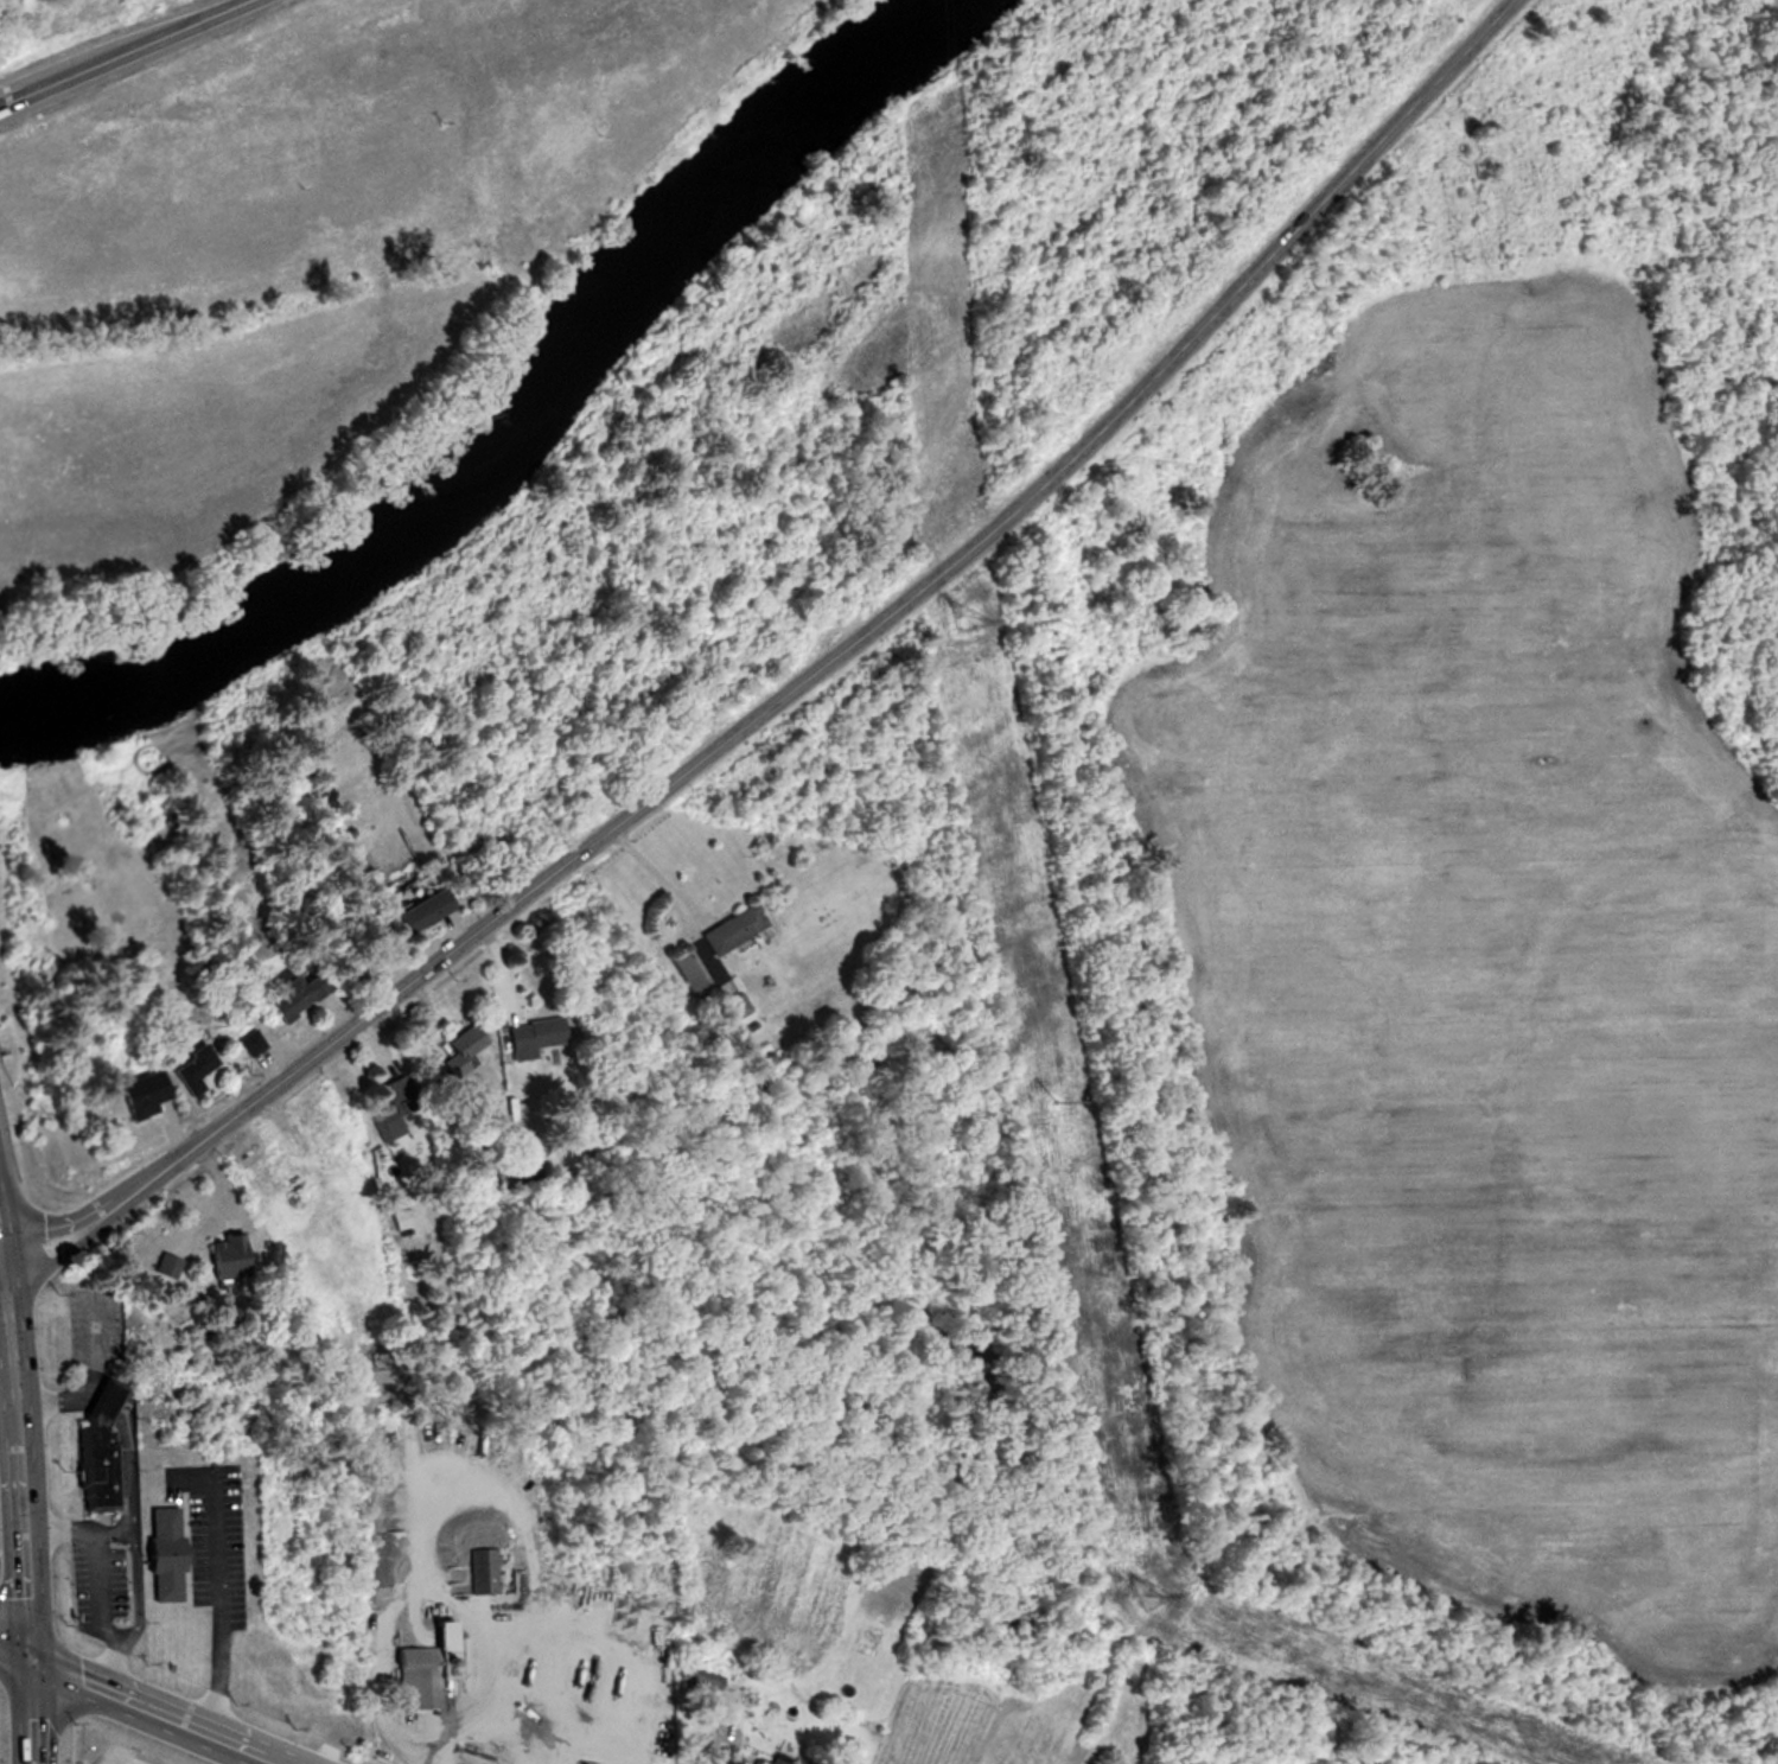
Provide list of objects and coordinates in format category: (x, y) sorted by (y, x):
road: (117, 50)
river: (512, 421)
power tower: (958, 620)
road: (792, 684)
road: (656, 879)
building: (415, 910)
building: (728, 928)
building: (684, 969)
building: (288, 995)
building: (733, 1005)
building: (531, 1036)
building: (238, 1044)
building: (457, 1051)
building: (186, 1068)
building: (133, 1094)
power tower: (1054, 1100)
building: (393, 1107)
building: (401, 1218)
building: (222, 1256)
building: (164, 1265)
road: (5, 1291)
road: (58, 1395)
road: (110, 1407)
building: (103, 1450)
road: (19, 1497)
road: (123, 1517)
building: (170, 1553)
building: (484, 1569)
road: (428, 1582)
power tower: (1141, 1596)
road: (221, 1607)
road: (101, 1610)
building: (420, 1667)
road: (142, 1703)
road: (506, 1721)
road: (715, 1746)
building: (766, 1762)
road: (281, 1763)

